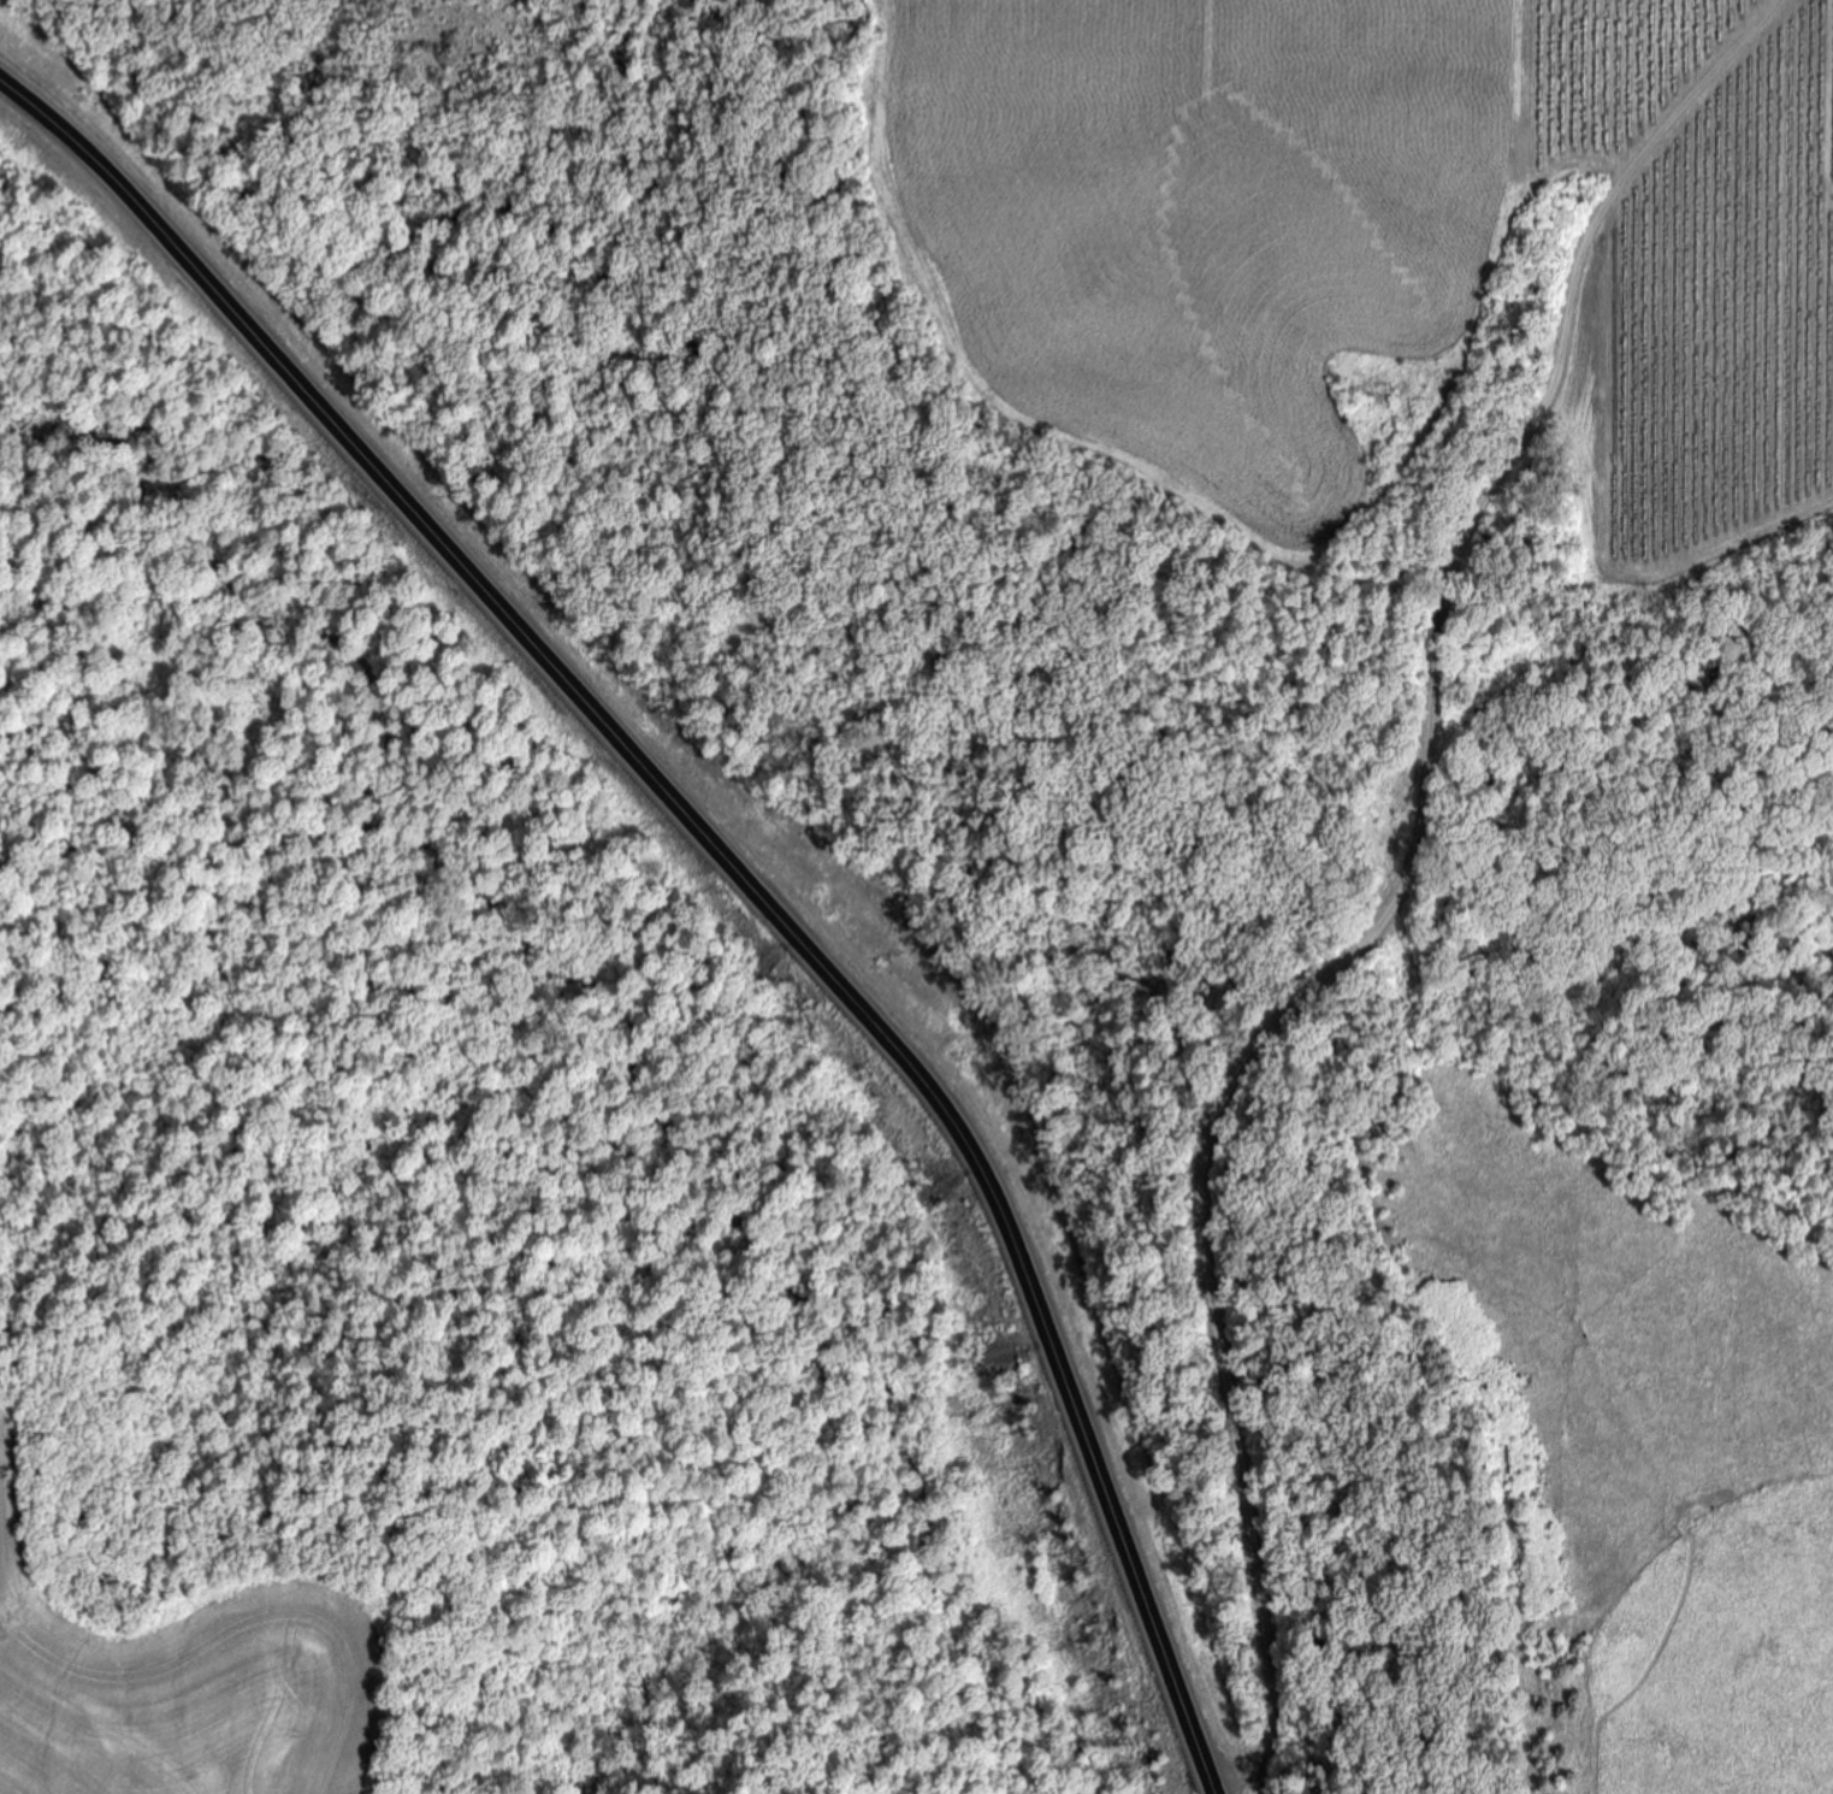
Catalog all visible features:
river: (1426, 415)
road: (727, 860)
road: (1396, 896)

